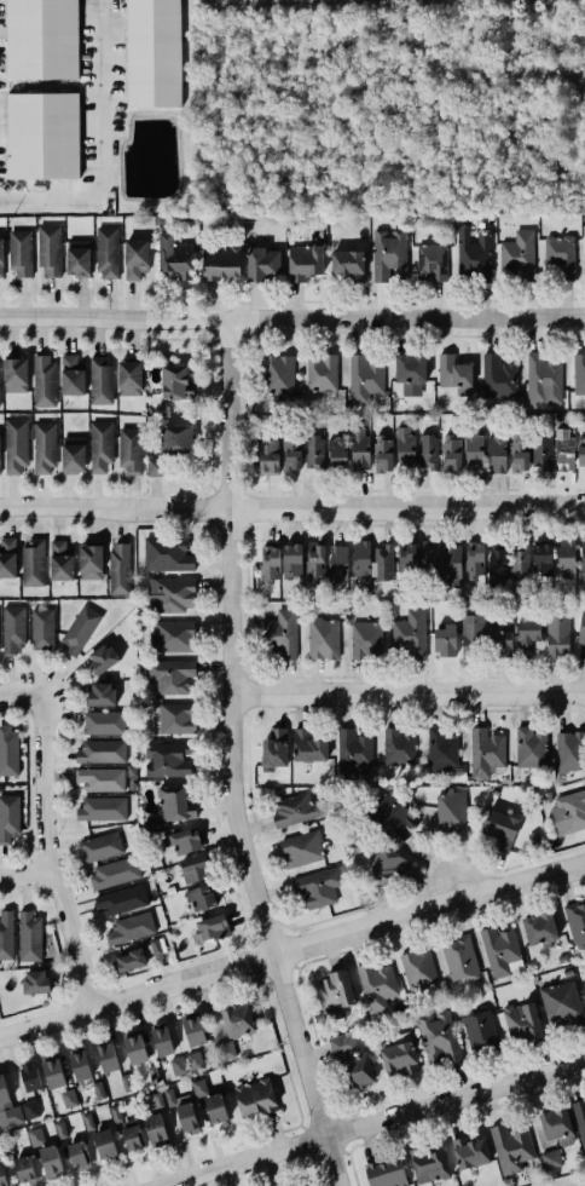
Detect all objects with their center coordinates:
building: (40, 39)
building: (152, 53)
building: (41, 136)
road: (100, 148)
building: (47, 248)
building: (106, 251)
building: (19, 252)
building: (389, 254)
building: (519, 254)
building: (471, 255)
building: (1, 257)
building: (134, 258)
building: (176, 258)
building: (557, 258)
building: (79, 259)
building: (584, 260)
building: (430, 261)
building: (221, 263)
building: (261, 263)
building: (305, 263)
building: (348, 265)
road: (292, 318)
building: (409, 367)
building: (452, 372)
building: (322, 373)
building: (579, 373)
building: (277, 374)
building: (15, 375)
building: (73, 376)
building: (128, 376)
building: (497, 376)
building: (363, 378)
building: (544, 379)
building: (44, 380)
building: (100, 380)
building: (174, 381)
building: (176, 438)
building: (16, 445)
building: (44, 445)
building: (102, 447)
building: (358, 448)
building: (405, 448)
building: (563, 449)
building: (580, 449)
building: (131, 451)
building: (315, 451)
building: (429, 451)
building: (474, 451)
building: (541, 451)
building: (336, 454)
building: (384, 454)
building: (450, 454)
building: (520, 454)
building: (74, 455)
building: (292, 455)
building: (497, 455)
building: (268, 456)
building: (0, 464)
building: (156, 467)
road: (291, 509)
building: (7, 557)
building: (168, 557)
building: (429, 558)
building: (540, 558)
building: (566, 558)
building: (475, 559)
building: (60, 560)
building: (290, 560)
building: (91, 562)
building: (313, 562)
building: (359, 562)
building: (393, 562)
building: (31, 563)
building: (268, 563)
building: (451, 564)
building: (516, 564)
building: (497, 565)
building: (525, 565)
building: (581, 565)
building: (337, 568)
building: (118, 569)
building: (172, 594)
building: (581, 627)
building: (12, 628)
building: (42, 629)
building: (80, 629)
building: (555, 632)
building: (279, 633)
building: (411, 634)
building: (470, 634)
building: (527, 634)
building: (502, 635)
building: (173, 637)
building: (324, 639)
building: (365, 641)
building: (445, 641)
building: (102, 658)
building: (169, 674)
building: (99, 695)
road: (407, 695)
road: (21, 696)
building: (175, 716)
building: (103, 722)
building: (308, 747)
building: (399, 747)
building: (532, 748)
building: (273, 749)
building: (7, 750)
building: (440, 750)
building: (569, 750)
building: (100, 752)
building: (483, 752)
building: (353, 754)
road: (228, 759)
building: (168, 760)
building: (99, 778)
building: (175, 802)
building: (103, 810)
building: (294, 810)
building: (452, 812)
building: (568, 812)
building: (10, 818)
building: (393, 818)
building: (500, 827)
building: (186, 841)
building: (100, 847)
building: (302, 850)
road: (45, 856)
building: (388, 865)
building: (195, 871)
building: (115, 873)
road: (24, 880)
building: (318, 887)
building: (199, 896)
building: (121, 899)
building: (575, 921)
building: (129, 927)
building: (212, 927)
building: (539, 929)
building: (6, 934)
building: (28, 937)
road: (291, 950)
building: (499, 951)
building: (459, 958)
building: (132, 960)
building: (418, 969)
building: (36, 981)
building: (376, 985)
building: (584, 985)
building: (336, 990)
building: (562, 1003)
building: (236, 1021)
park: (0, 1023)
building: (522, 1023)
building: (192, 1031)
building: (480, 1031)
building: (162, 1040)
building: (438, 1040)
building: (343, 1044)
building: (135, 1049)
building: (226, 1050)
building: (108, 1058)
building: (398, 1058)
building: (195, 1061)
building: (79, 1065)
building: (178, 1066)
building: (358, 1070)
building: (52, 1071)
building: (154, 1073)
building: (29, 1077)
building: (97, 1090)
building: (255, 1098)
building: (69, 1099)
building: (210, 1104)
building: (7, 1107)
building: (29, 1109)
building: (187, 1117)
building: (580, 1118)
road: (373, 1124)
building: (555, 1125)
building: (154, 1128)
building: (35, 1136)
building: (133, 1139)
building: (103, 1144)
building: (510, 1147)
building: (470, 1153)
building: (77, 1155)
building: (551, 1159)
building: (48, 1161)
building: (427, 1164)
building: (23, 1170)
building: (387, 1173)
building: (1, 1178)
park: (564, 1180)

